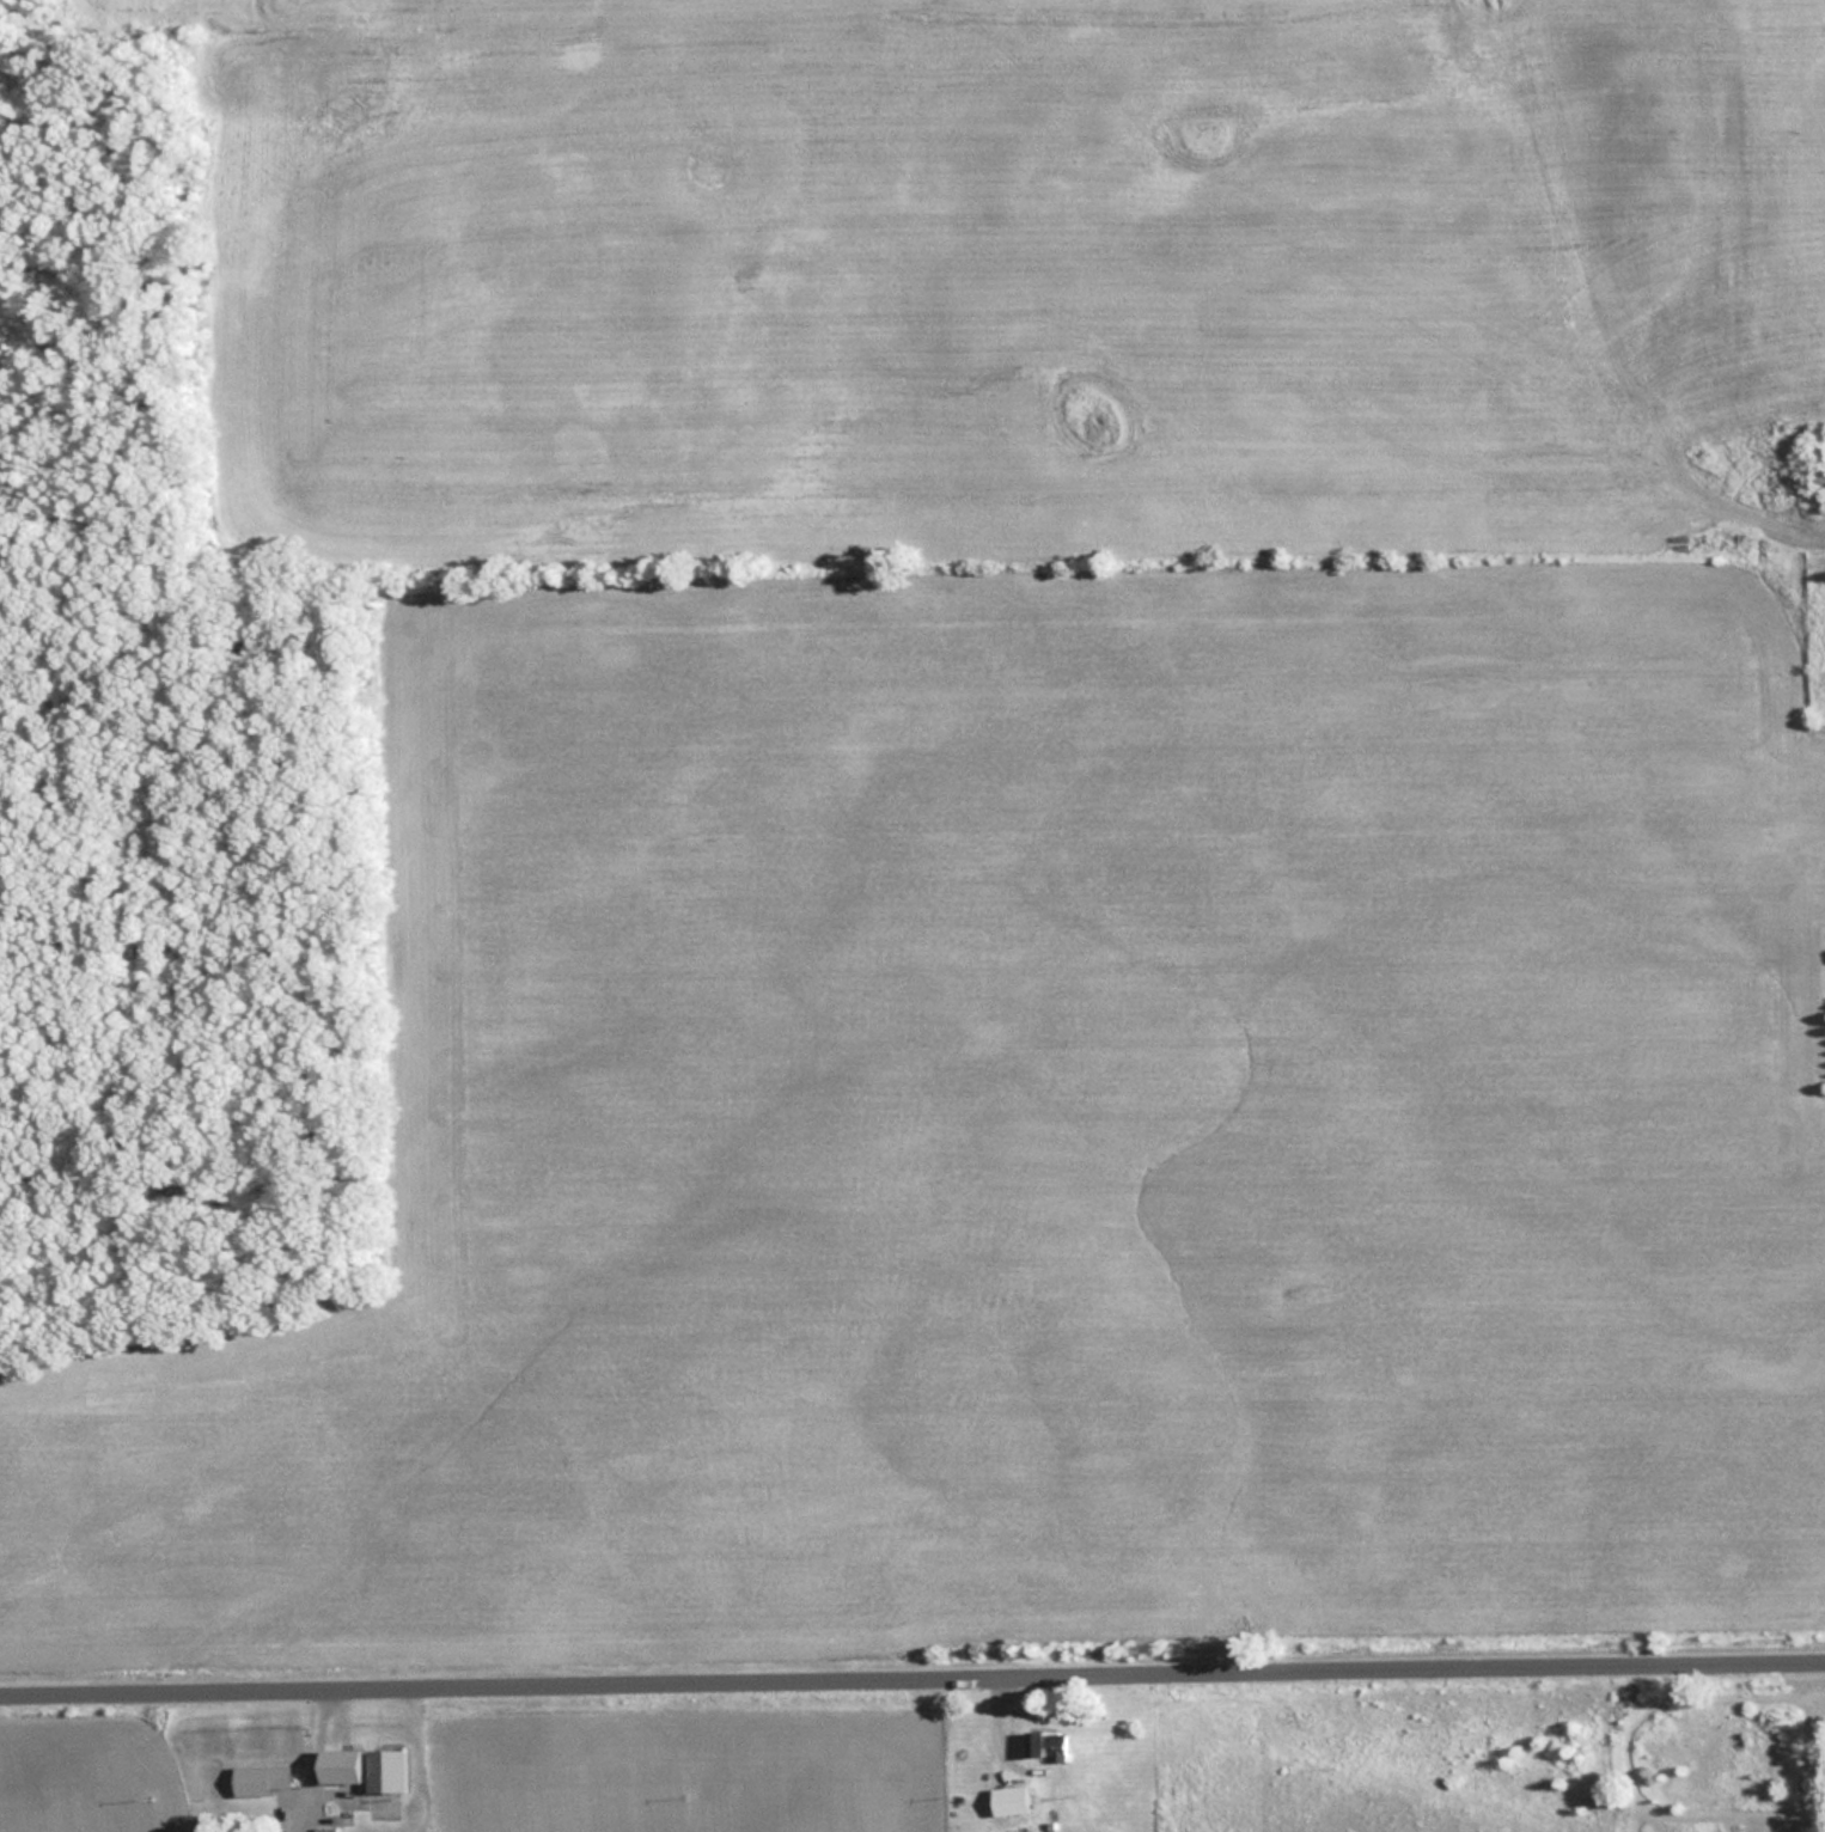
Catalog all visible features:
road: (912, 1680)
building: (1046, 1746)
building: (364, 1767)
building: (257, 1778)
building: (1008, 1800)

